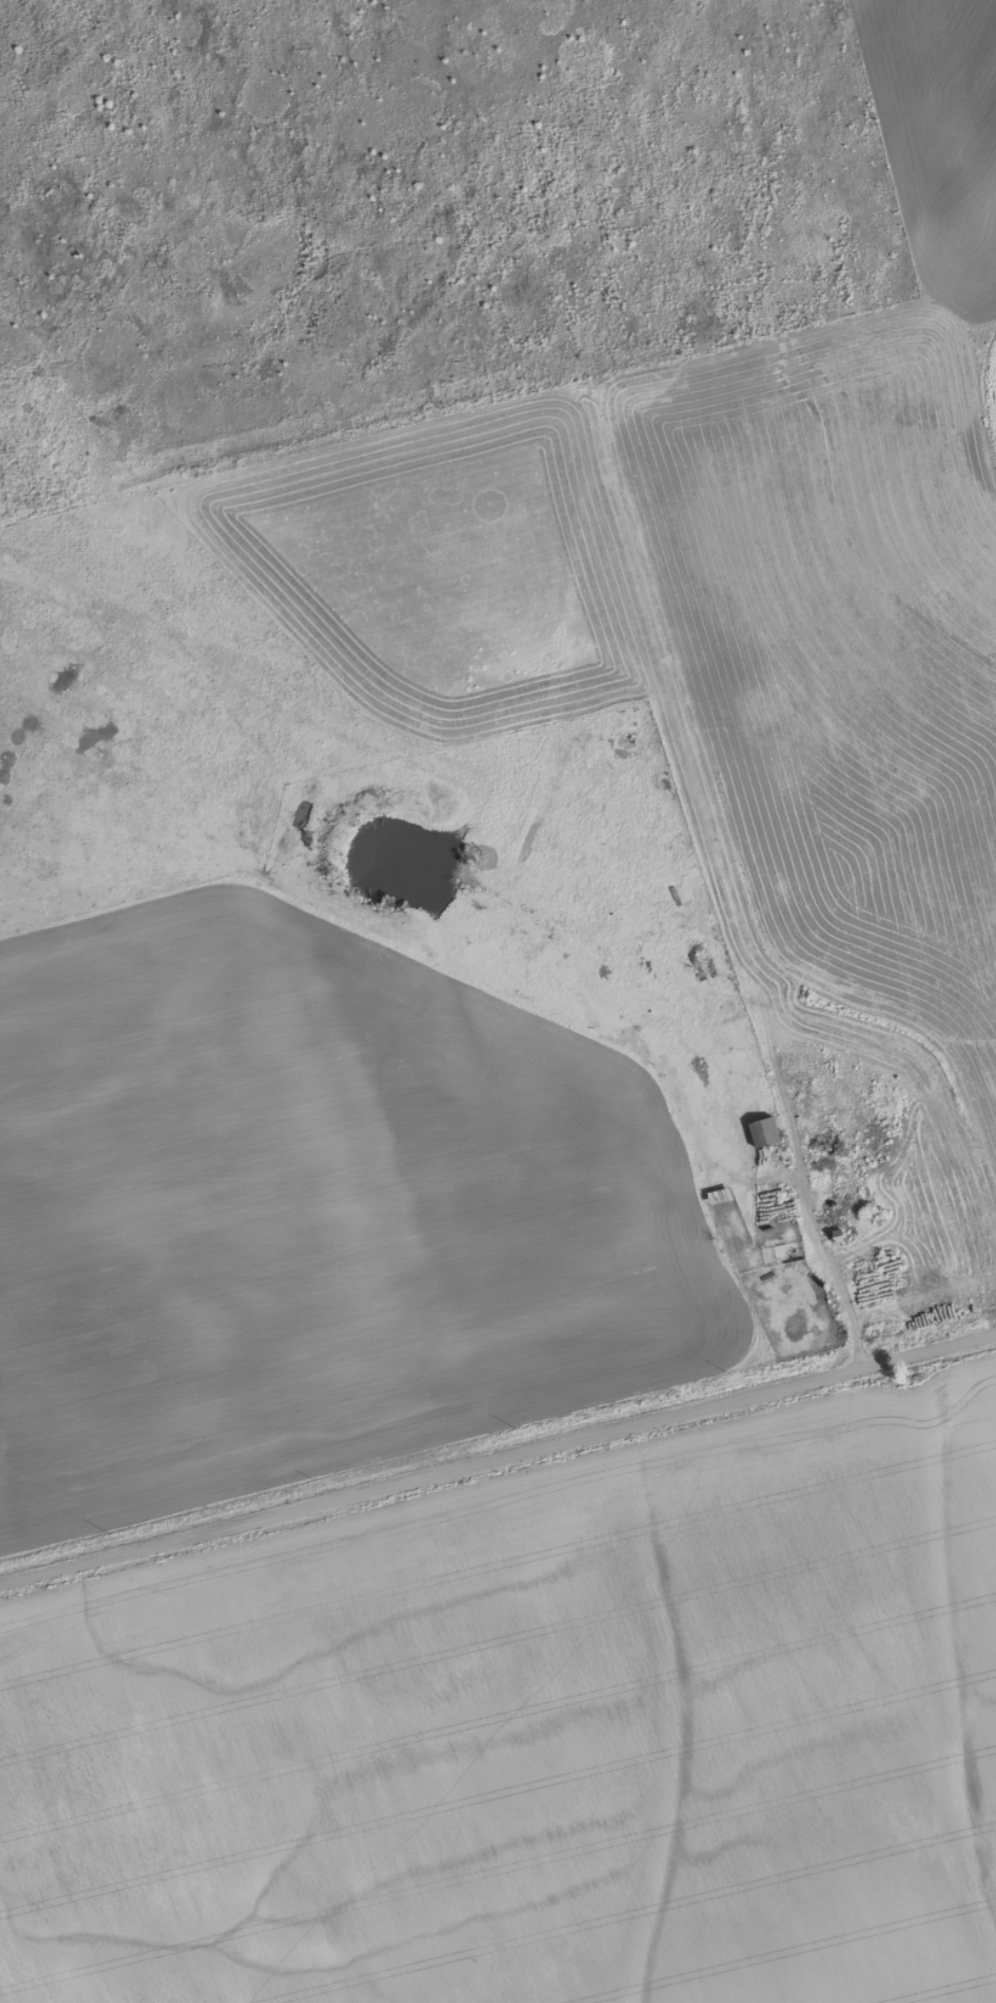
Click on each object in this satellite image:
road: (831, 678)
building: (618, 749)
building: (761, 1132)
road: (497, 1455)

